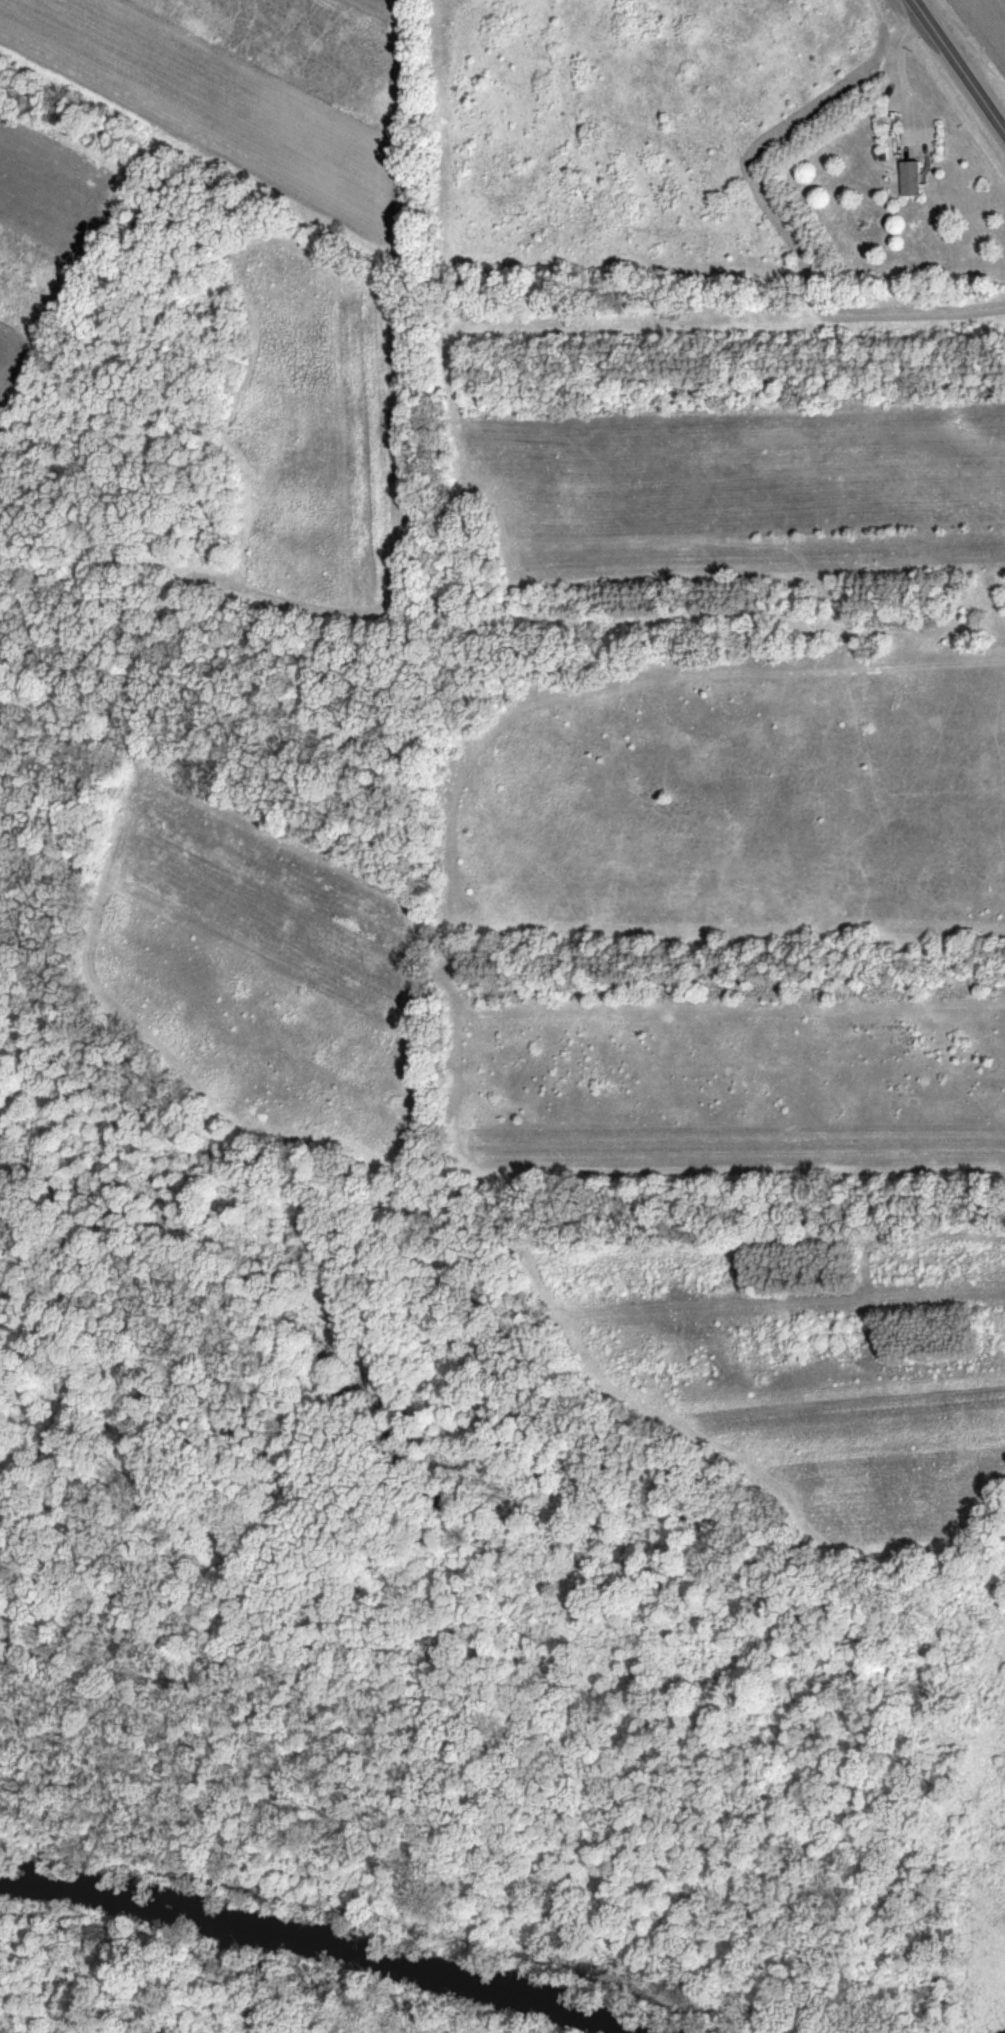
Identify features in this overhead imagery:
crop: (979, 34)
road: (957, 67)
road: (899, 83)
building: (913, 175)
river: (325, 1941)

